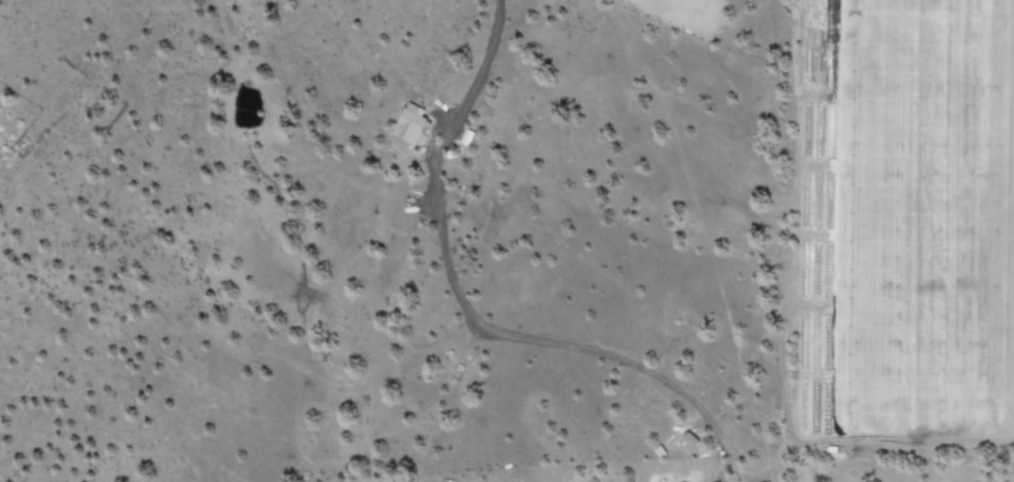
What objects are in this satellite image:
building: (409, 124)

